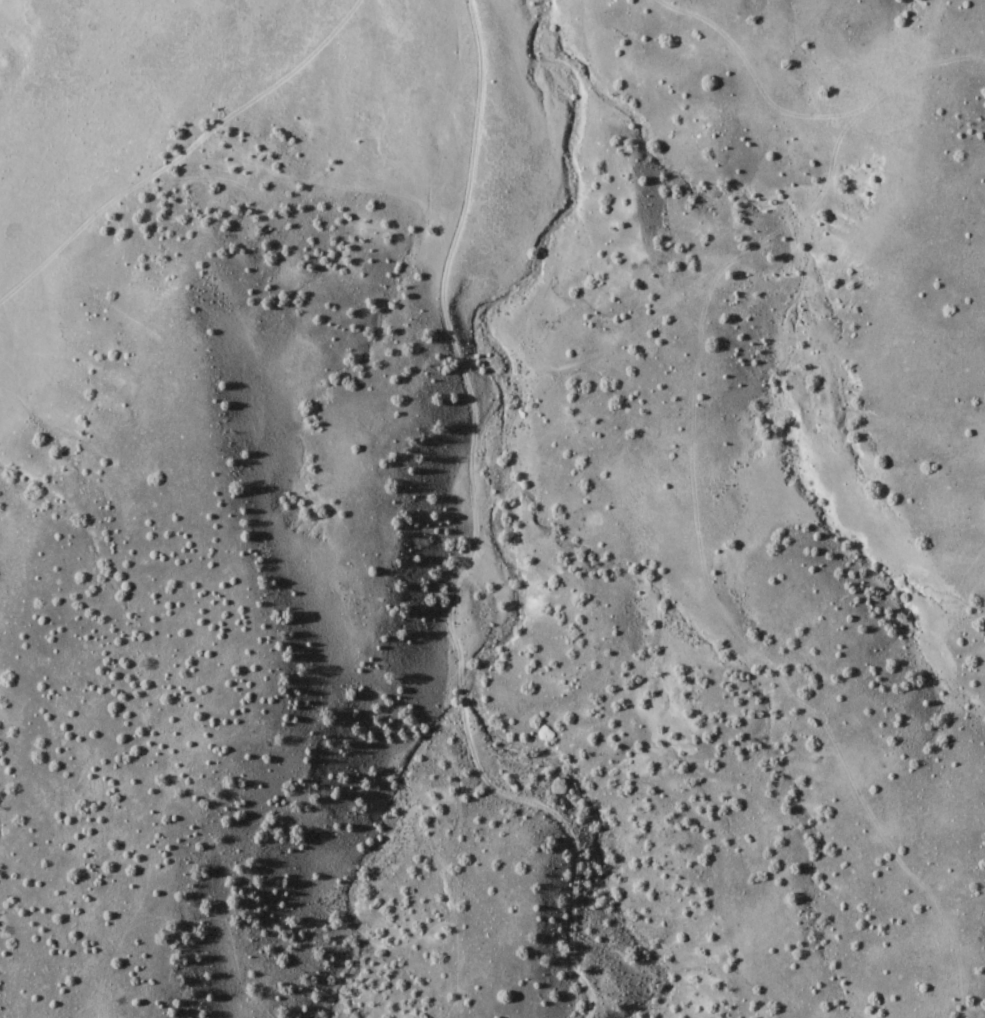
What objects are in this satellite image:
road: (430, 530)

